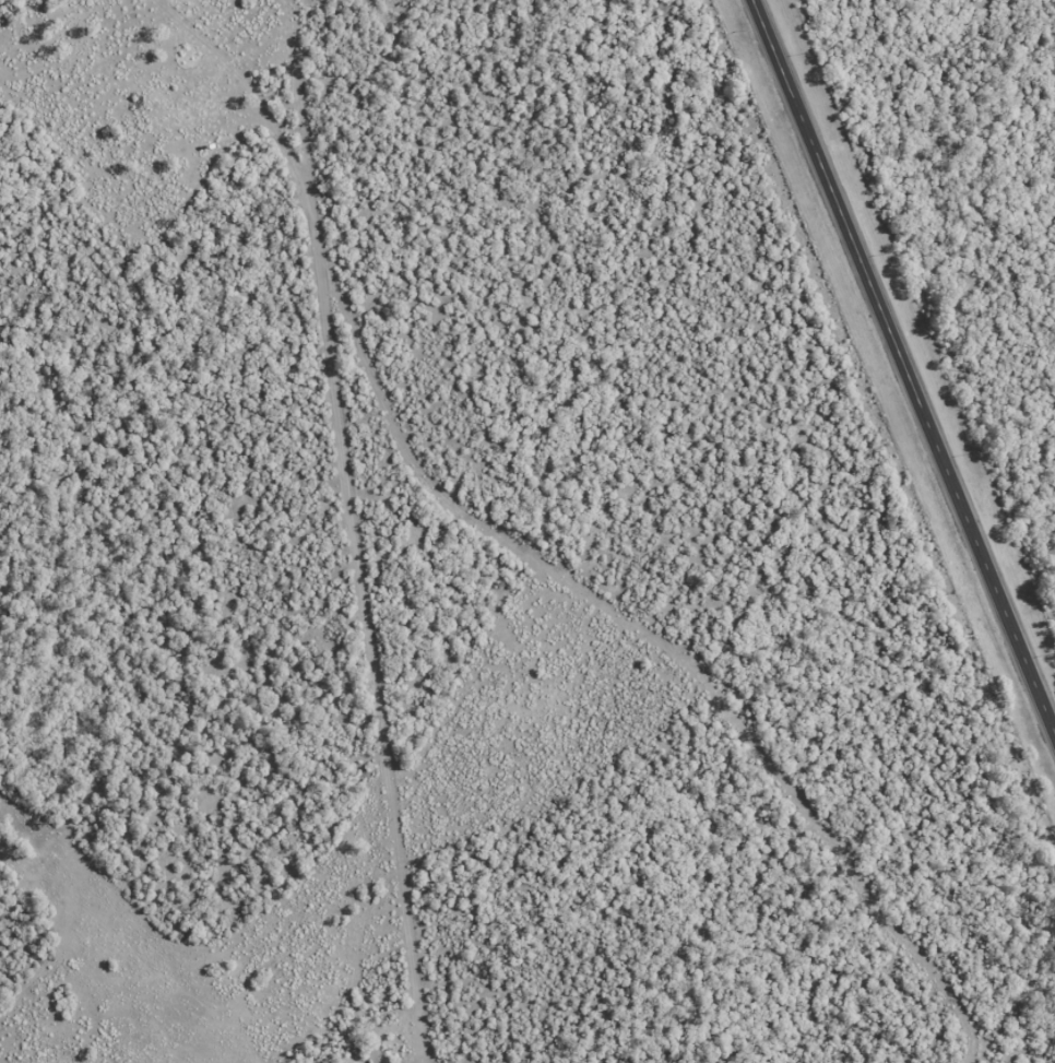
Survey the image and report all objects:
power tower: (750, 94)
road: (904, 363)
power tower: (865, 376)
power tower: (985, 668)

